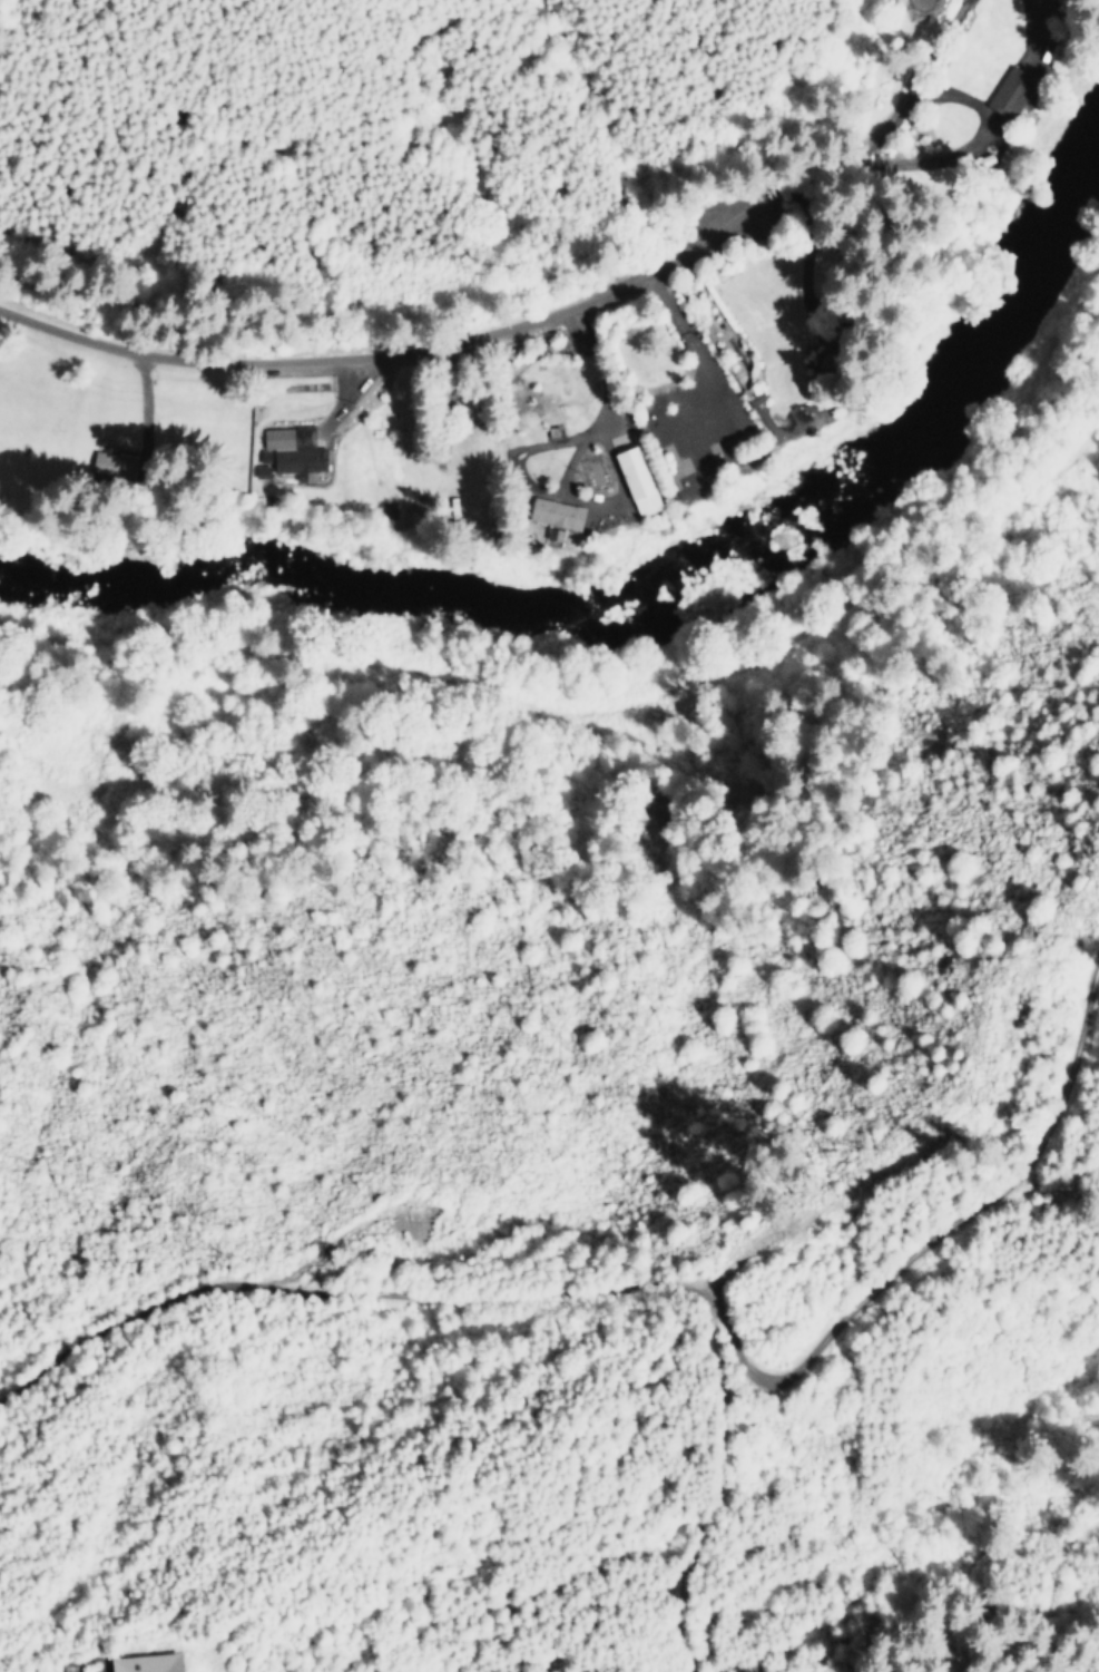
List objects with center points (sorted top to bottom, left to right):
road: (1030, 29)
road: (920, 65)
building: (1007, 92)
road: (959, 98)
road: (461, 343)
road: (701, 354)
road: (344, 401)
road: (143, 409)
road: (592, 426)
building: (290, 449)
building: (106, 466)
building: (259, 471)
building: (634, 481)
building: (552, 514)
river: (645, 593)
road: (678, 1282)
building: (143, 1663)

